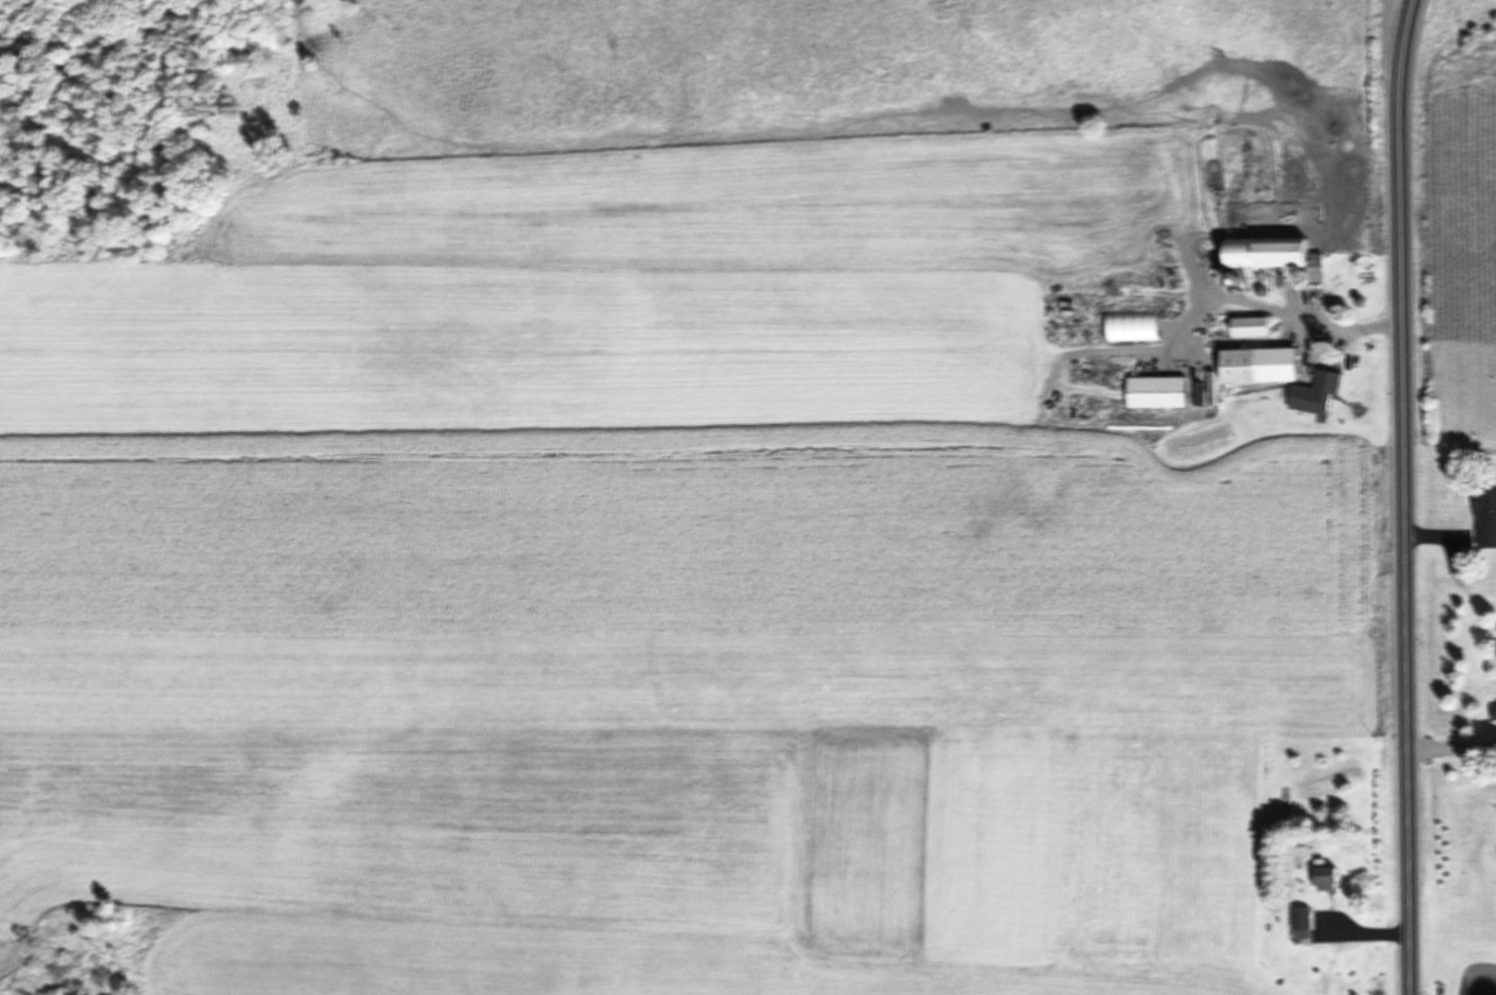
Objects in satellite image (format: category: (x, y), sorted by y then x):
building: (1274, 253)
building: (1253, 327)
building: (1263, 366)
building: (1161, 392)
road: (1403, 496)
building: (1487, 518)
building: (1495, 713)
building: (1328, 877)
building: (1304, 924)

